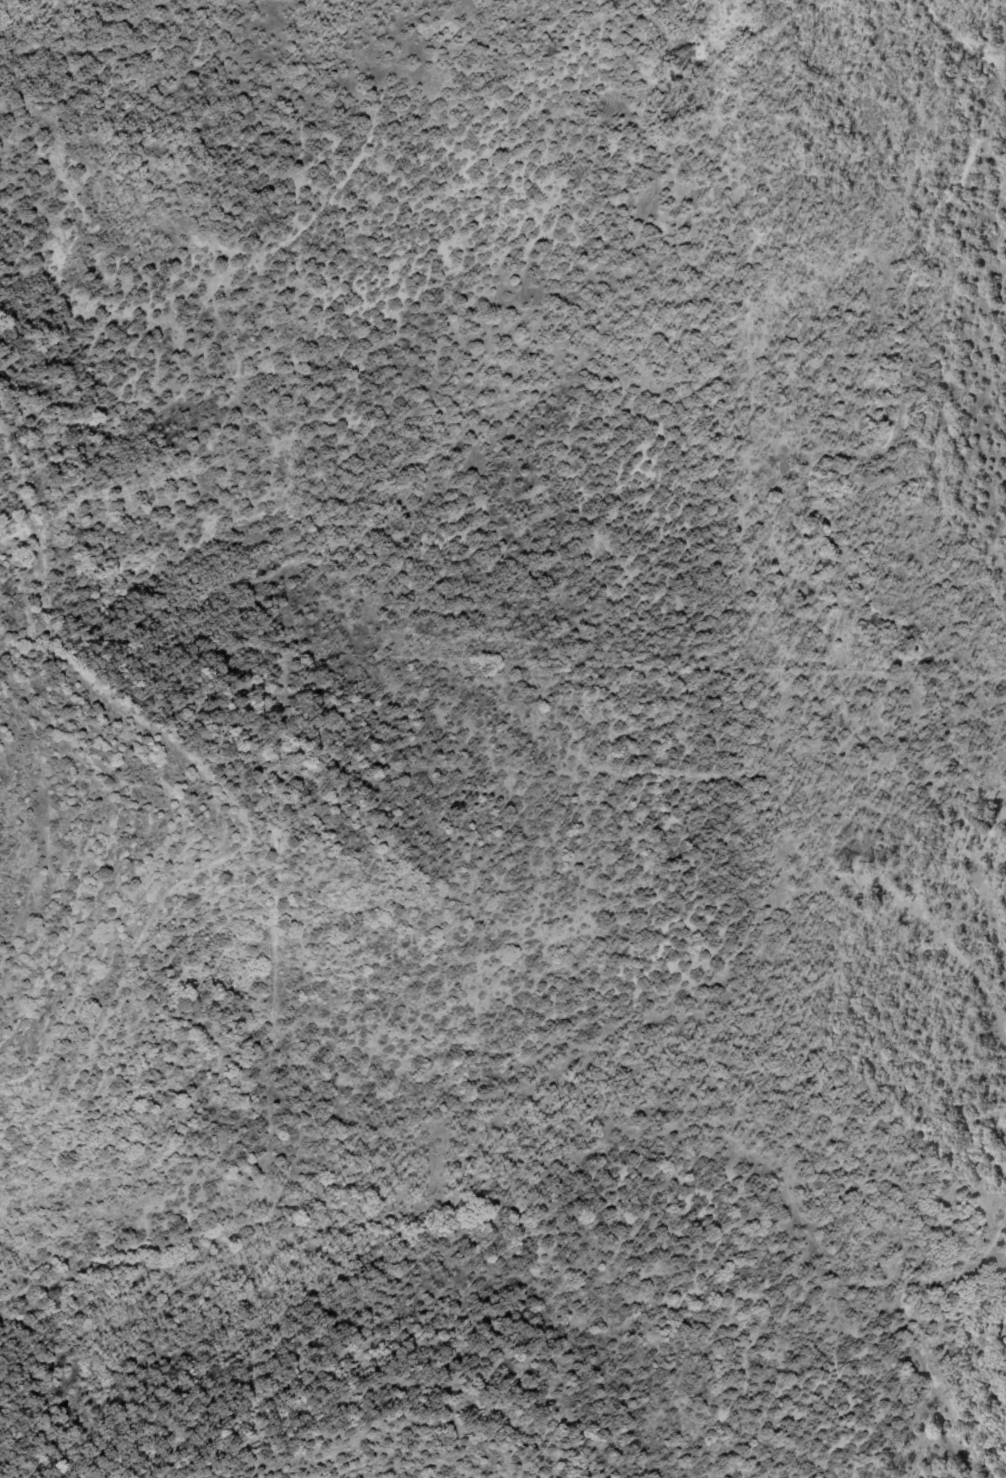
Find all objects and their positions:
road: (789, 549)

